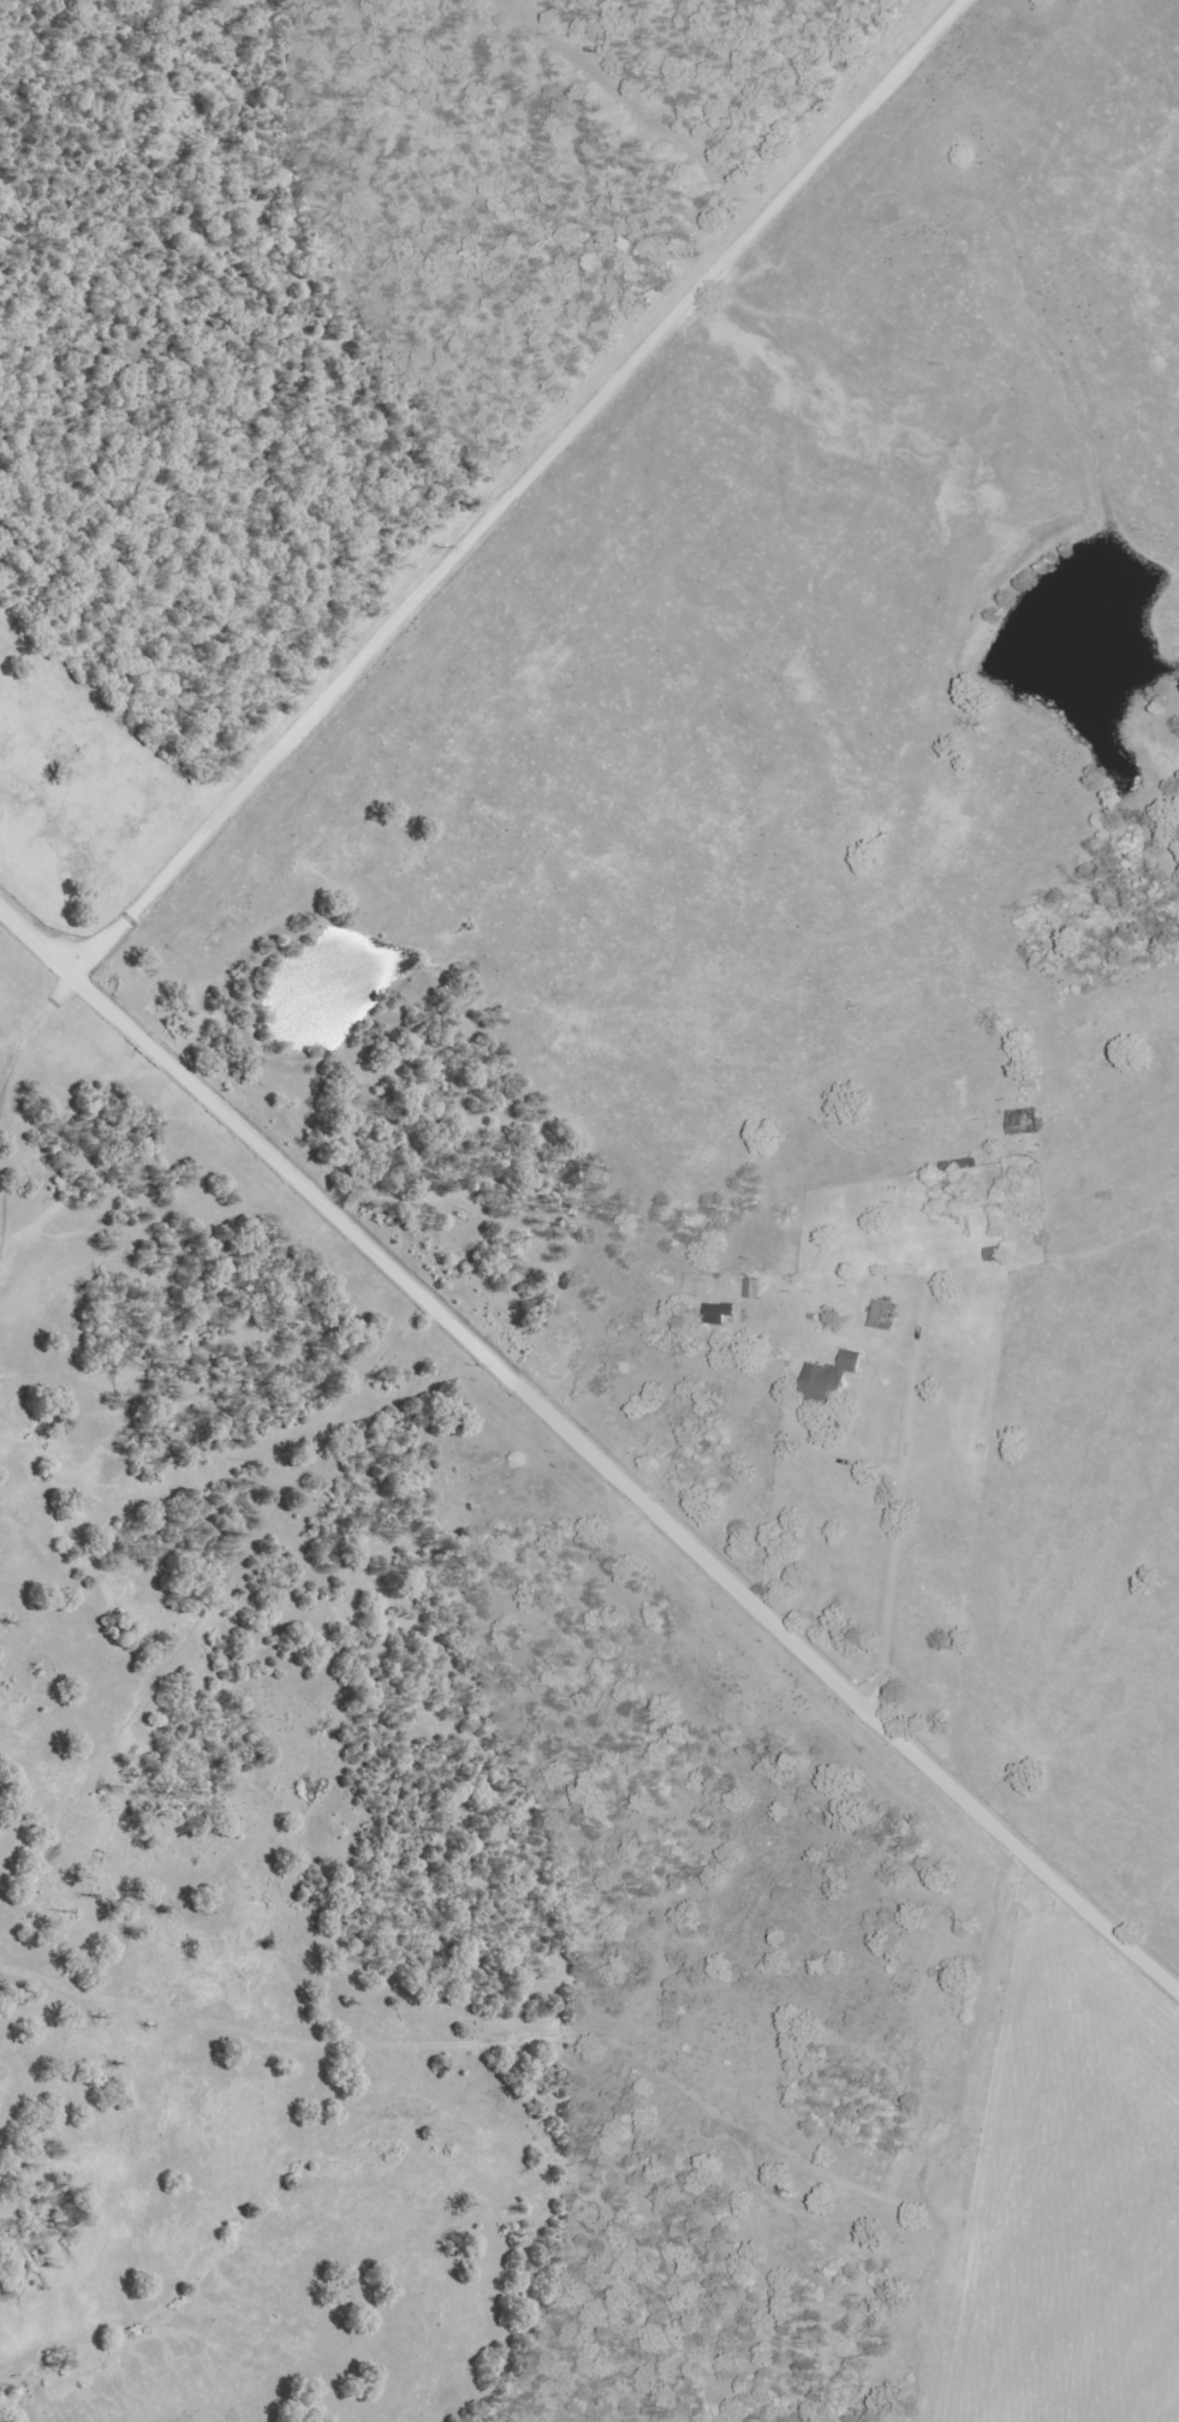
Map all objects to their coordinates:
road: (333, 637)
building: (888, 1315)
building: (833, 1380)
road: (586, 1446)
road: (934, 1541)

